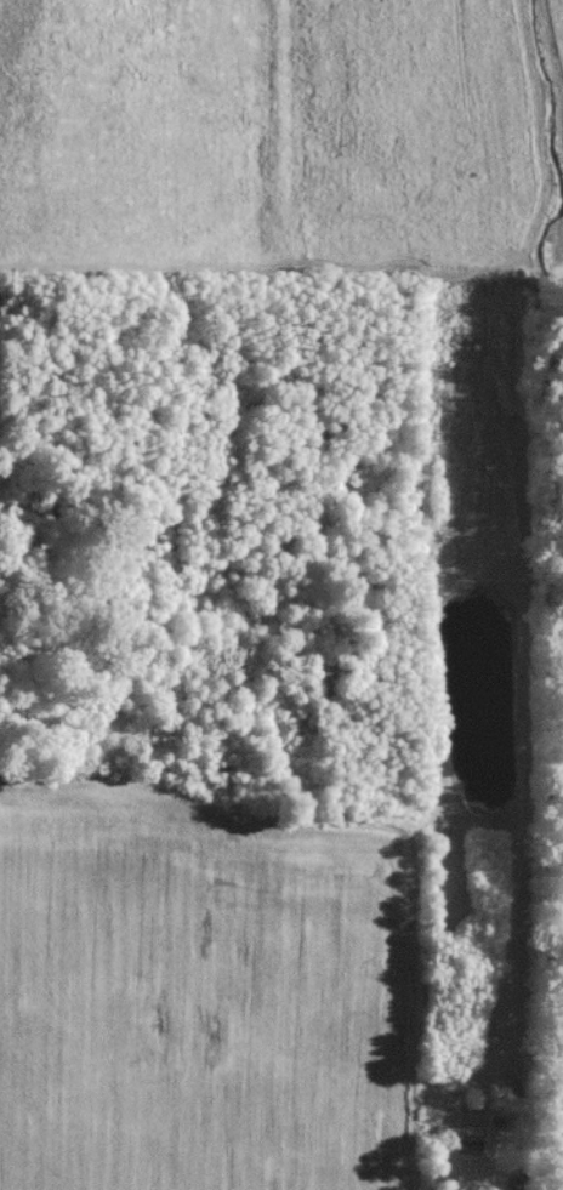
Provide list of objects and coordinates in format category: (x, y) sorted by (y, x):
building: (319, 688)

